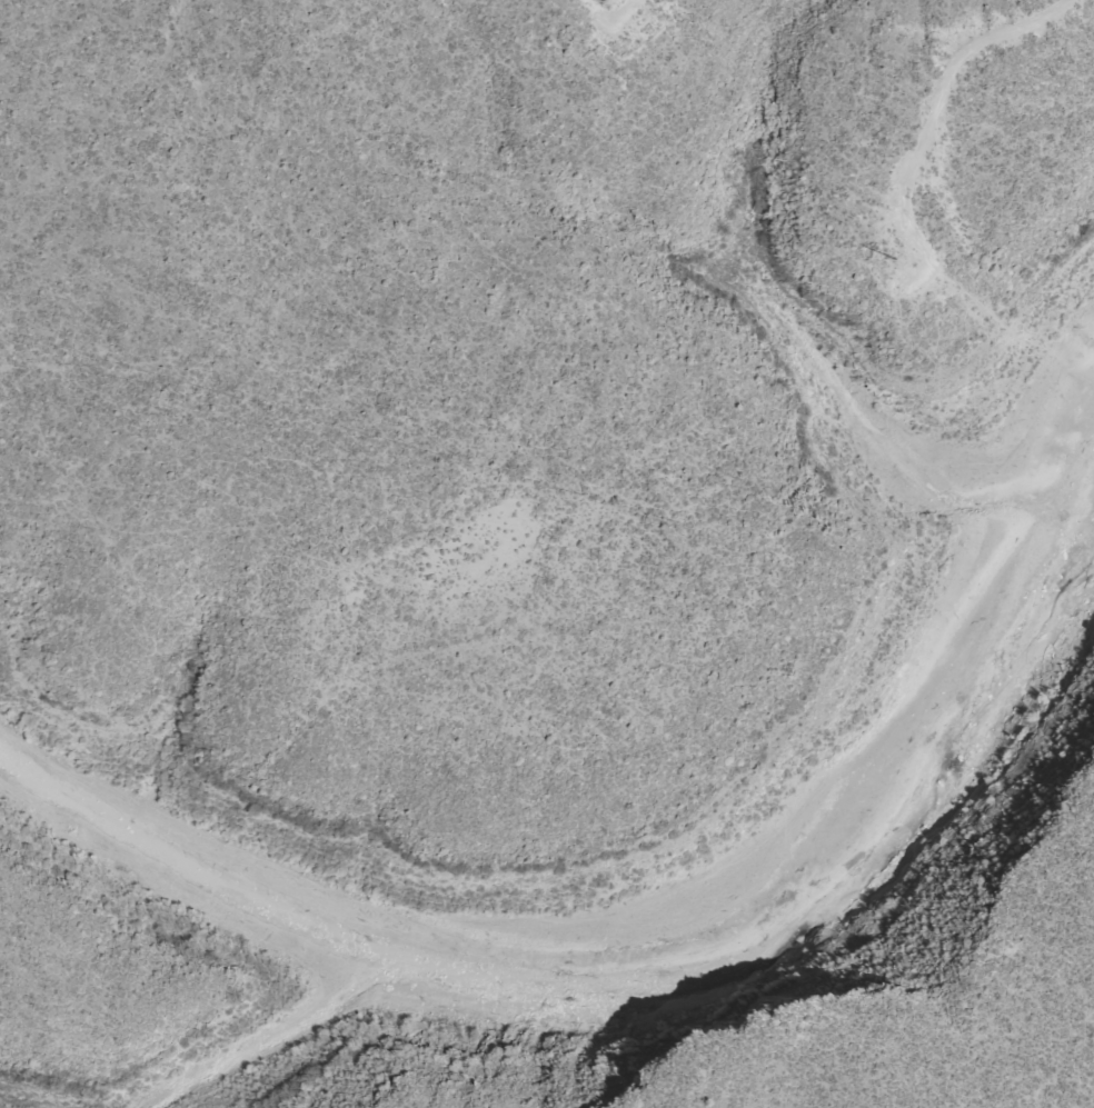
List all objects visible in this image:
power tower: (604, 0)
power tower: (896, 260)

